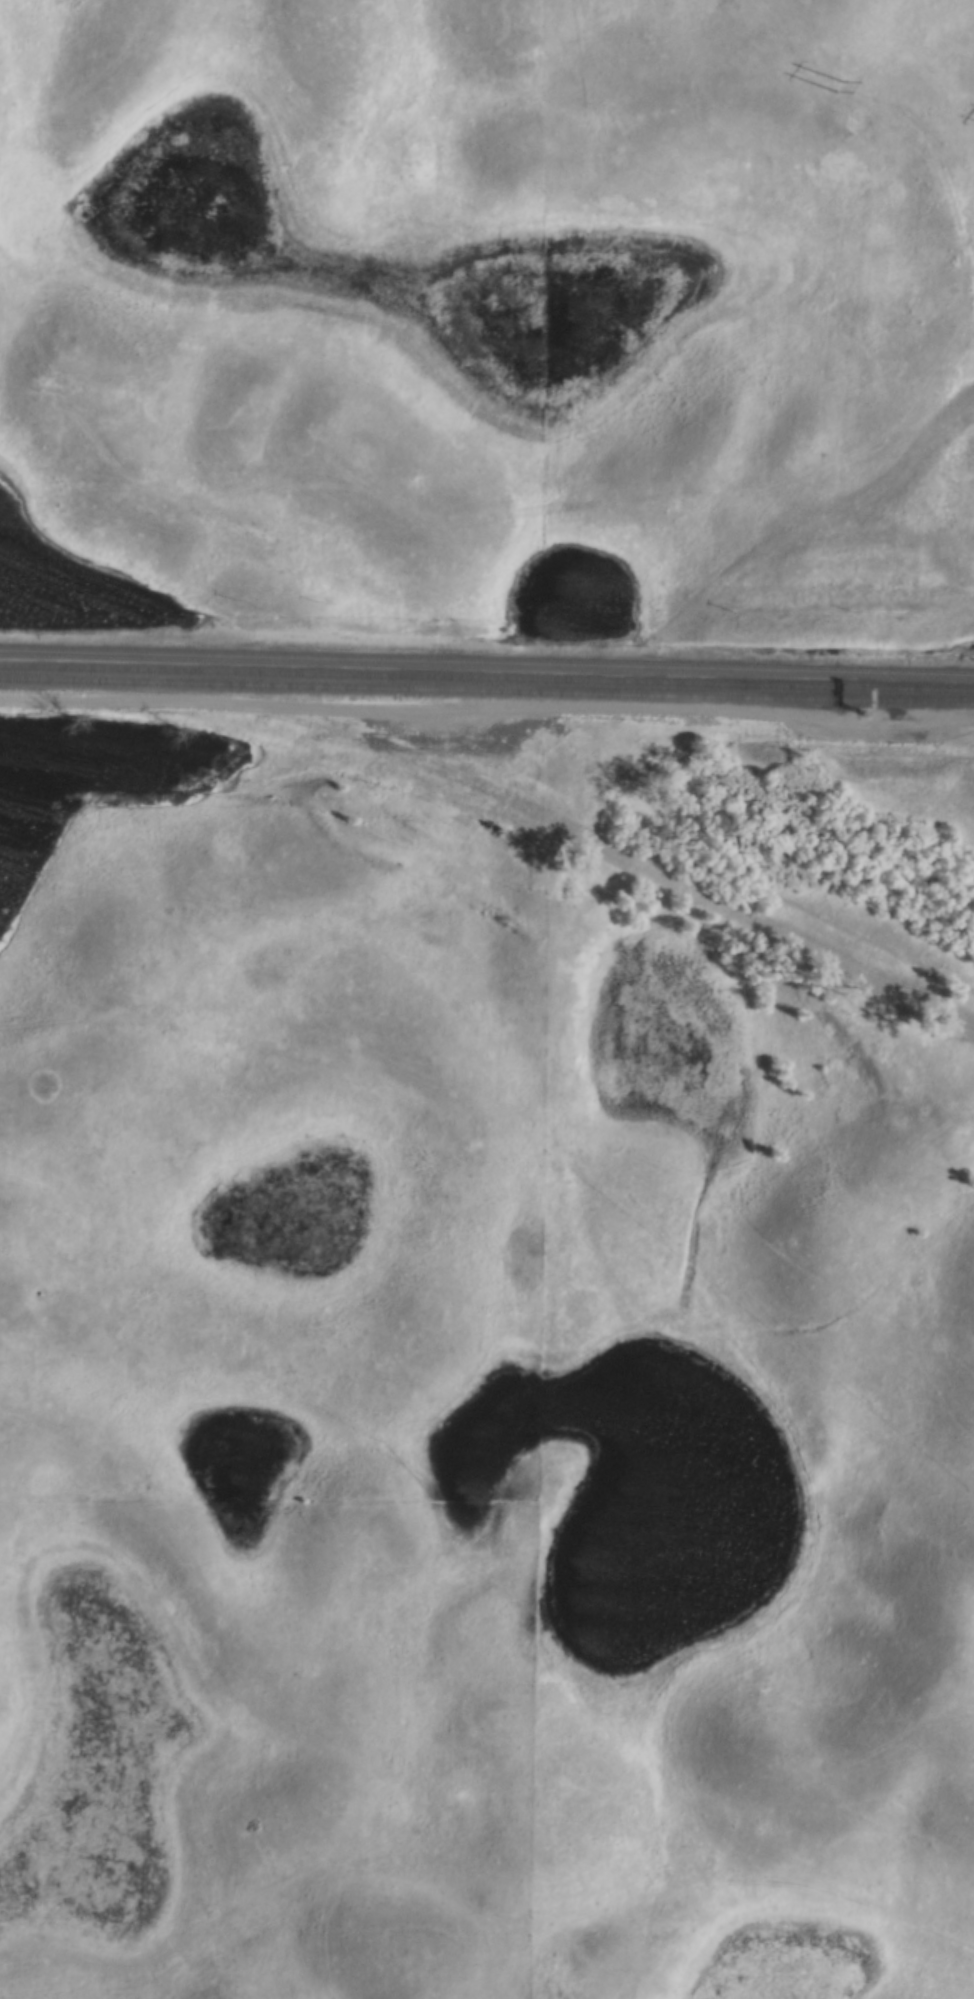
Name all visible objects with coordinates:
railway: (486, 666)
railway: (487, 679)
railway: (486, 691)
road: (488, 709)
road: (644, 868)

